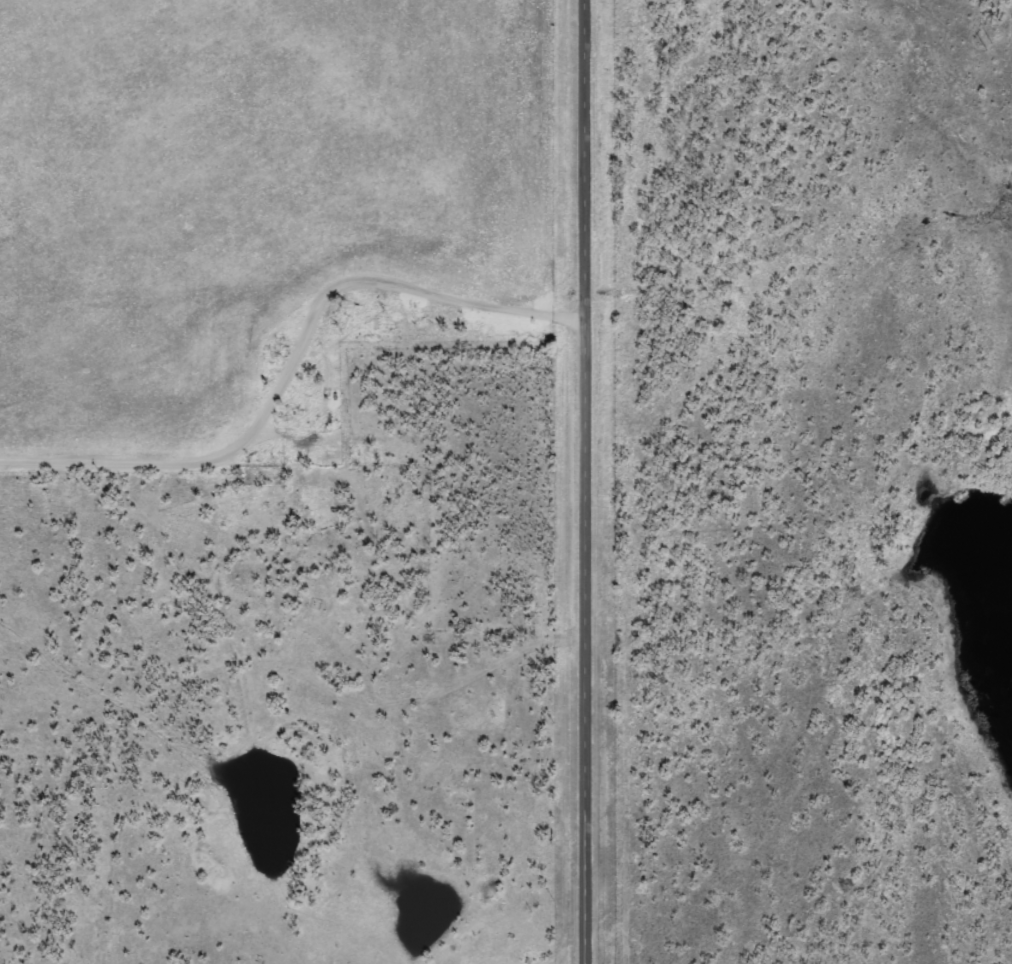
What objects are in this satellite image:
power tower: (980, 45)
road: (287, 371)
road: (578, 482)

